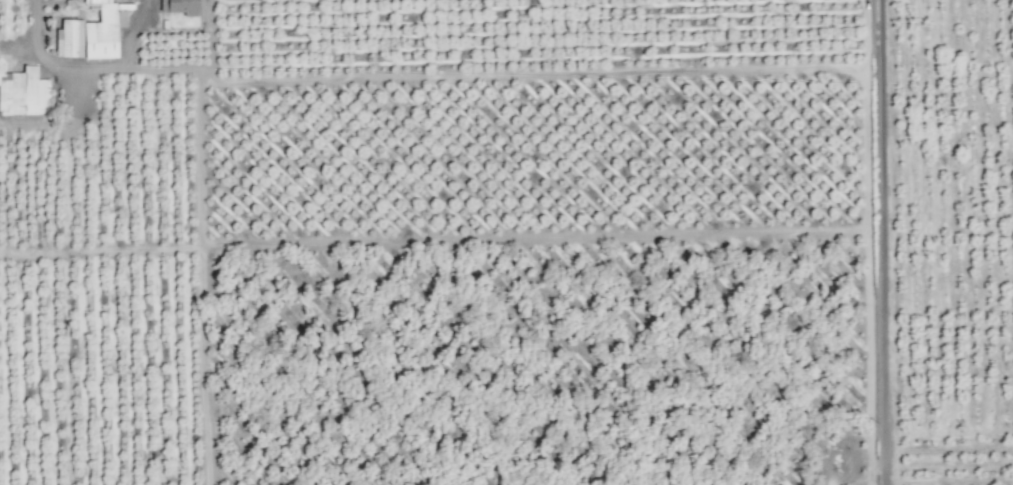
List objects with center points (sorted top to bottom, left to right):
building: (181, 6)
building: (88, 34)
building: (23, 92)
road: (889, 242)

